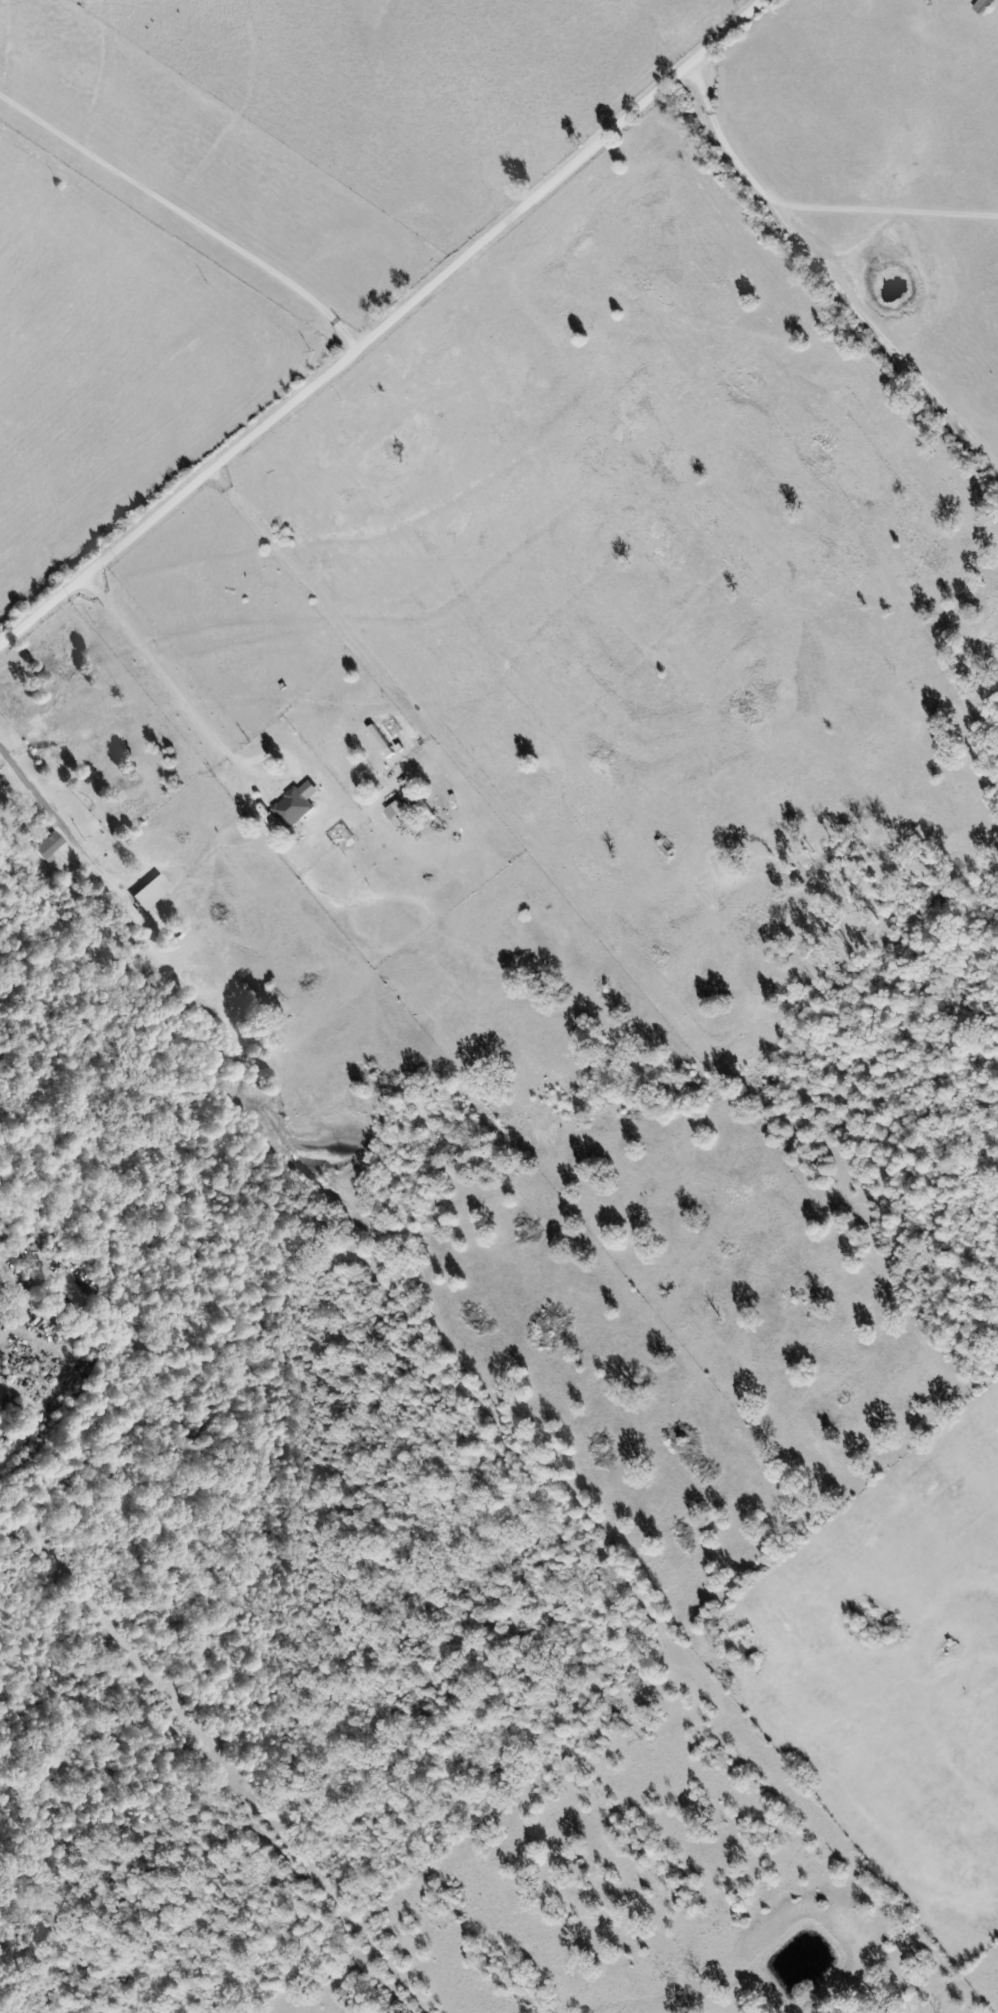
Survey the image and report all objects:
building: (981, 6)
road: (185, 209)
road: (382, 325)
building: (362, 389)
building: (354, 421)
road: (341, 622)
road: (198, 716)
road: (27, 778)
building: (291, 809)
building: (394, 811)

